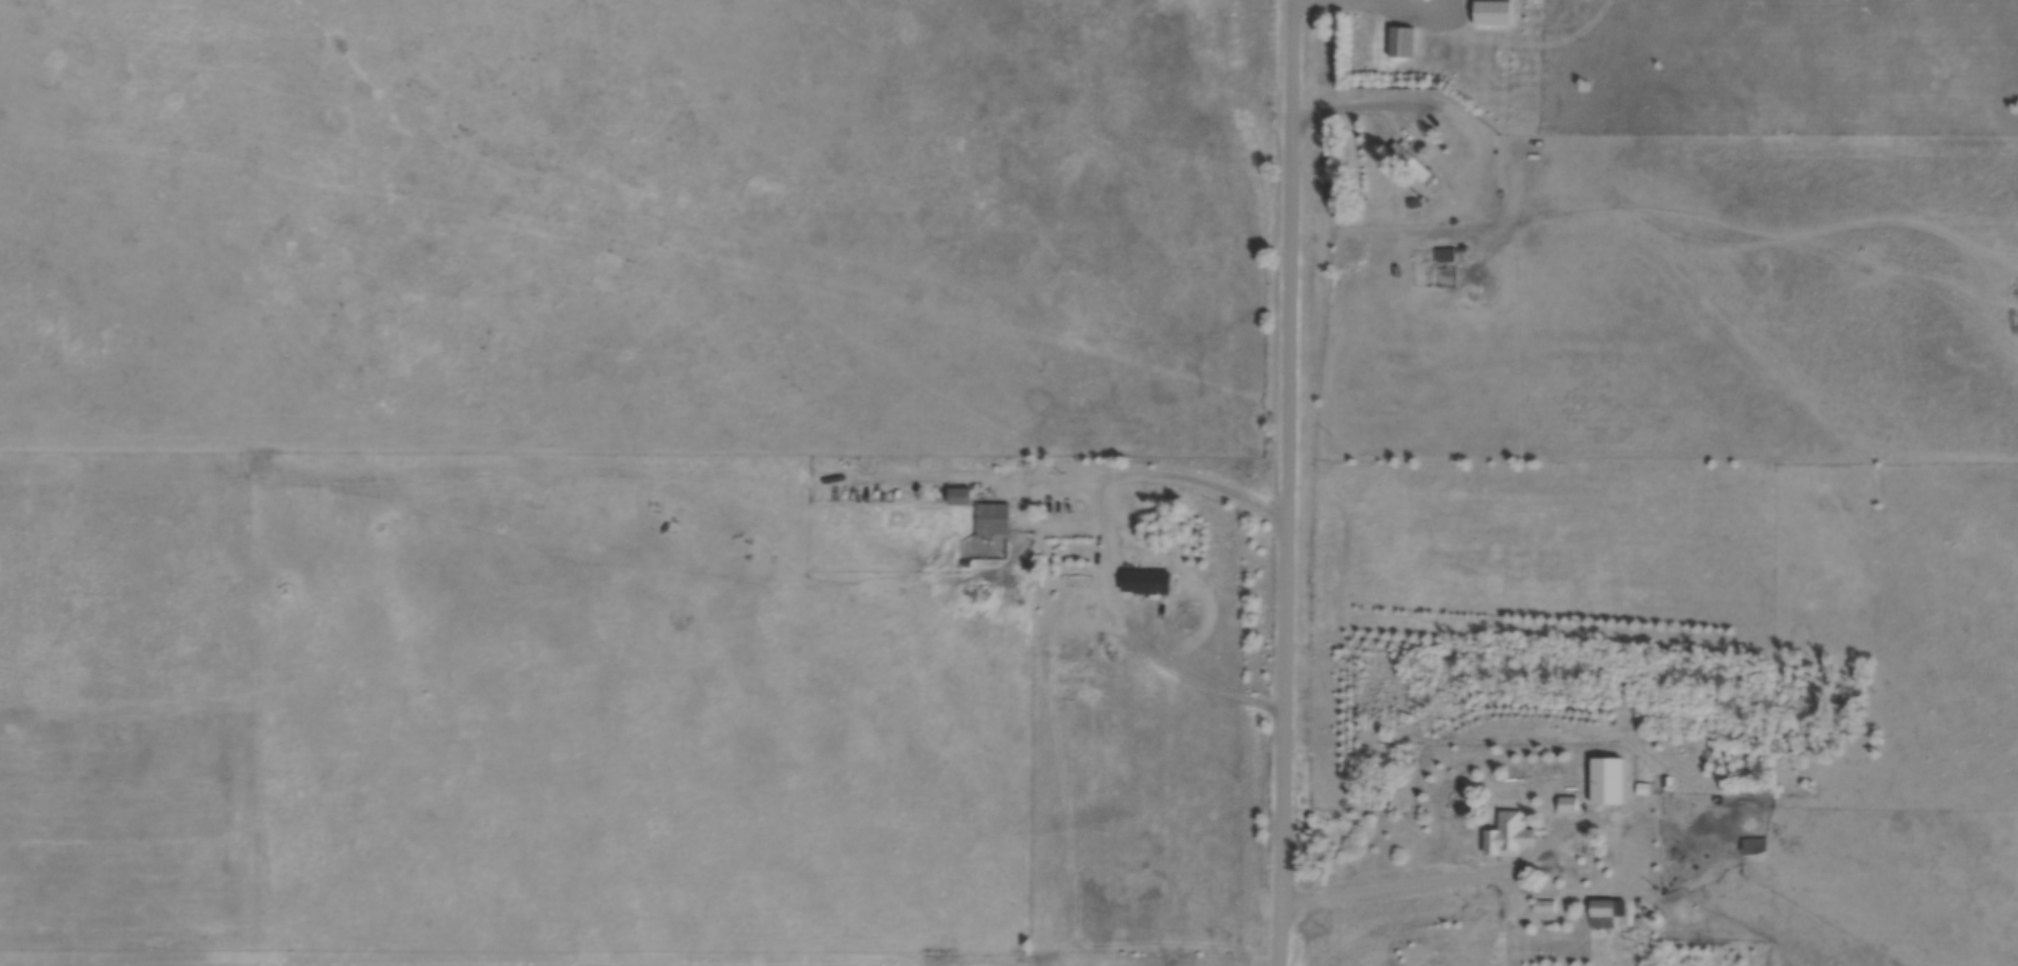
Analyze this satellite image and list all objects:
building: (1401, 42)
building: (1412, 164)
building: (1446, 255)
road: (1291, 262)
road: (517, 468)
road: (1160, 475)
building: (960, 497)
building: (992, 519)
building: (1146, 583)
road: (1282, 744)
building: (1607, 779)
building: (1511, 826)
building: (1754, 843)
road: (1433, 881)
building: (1606, 910)
building: (1425, 959)

